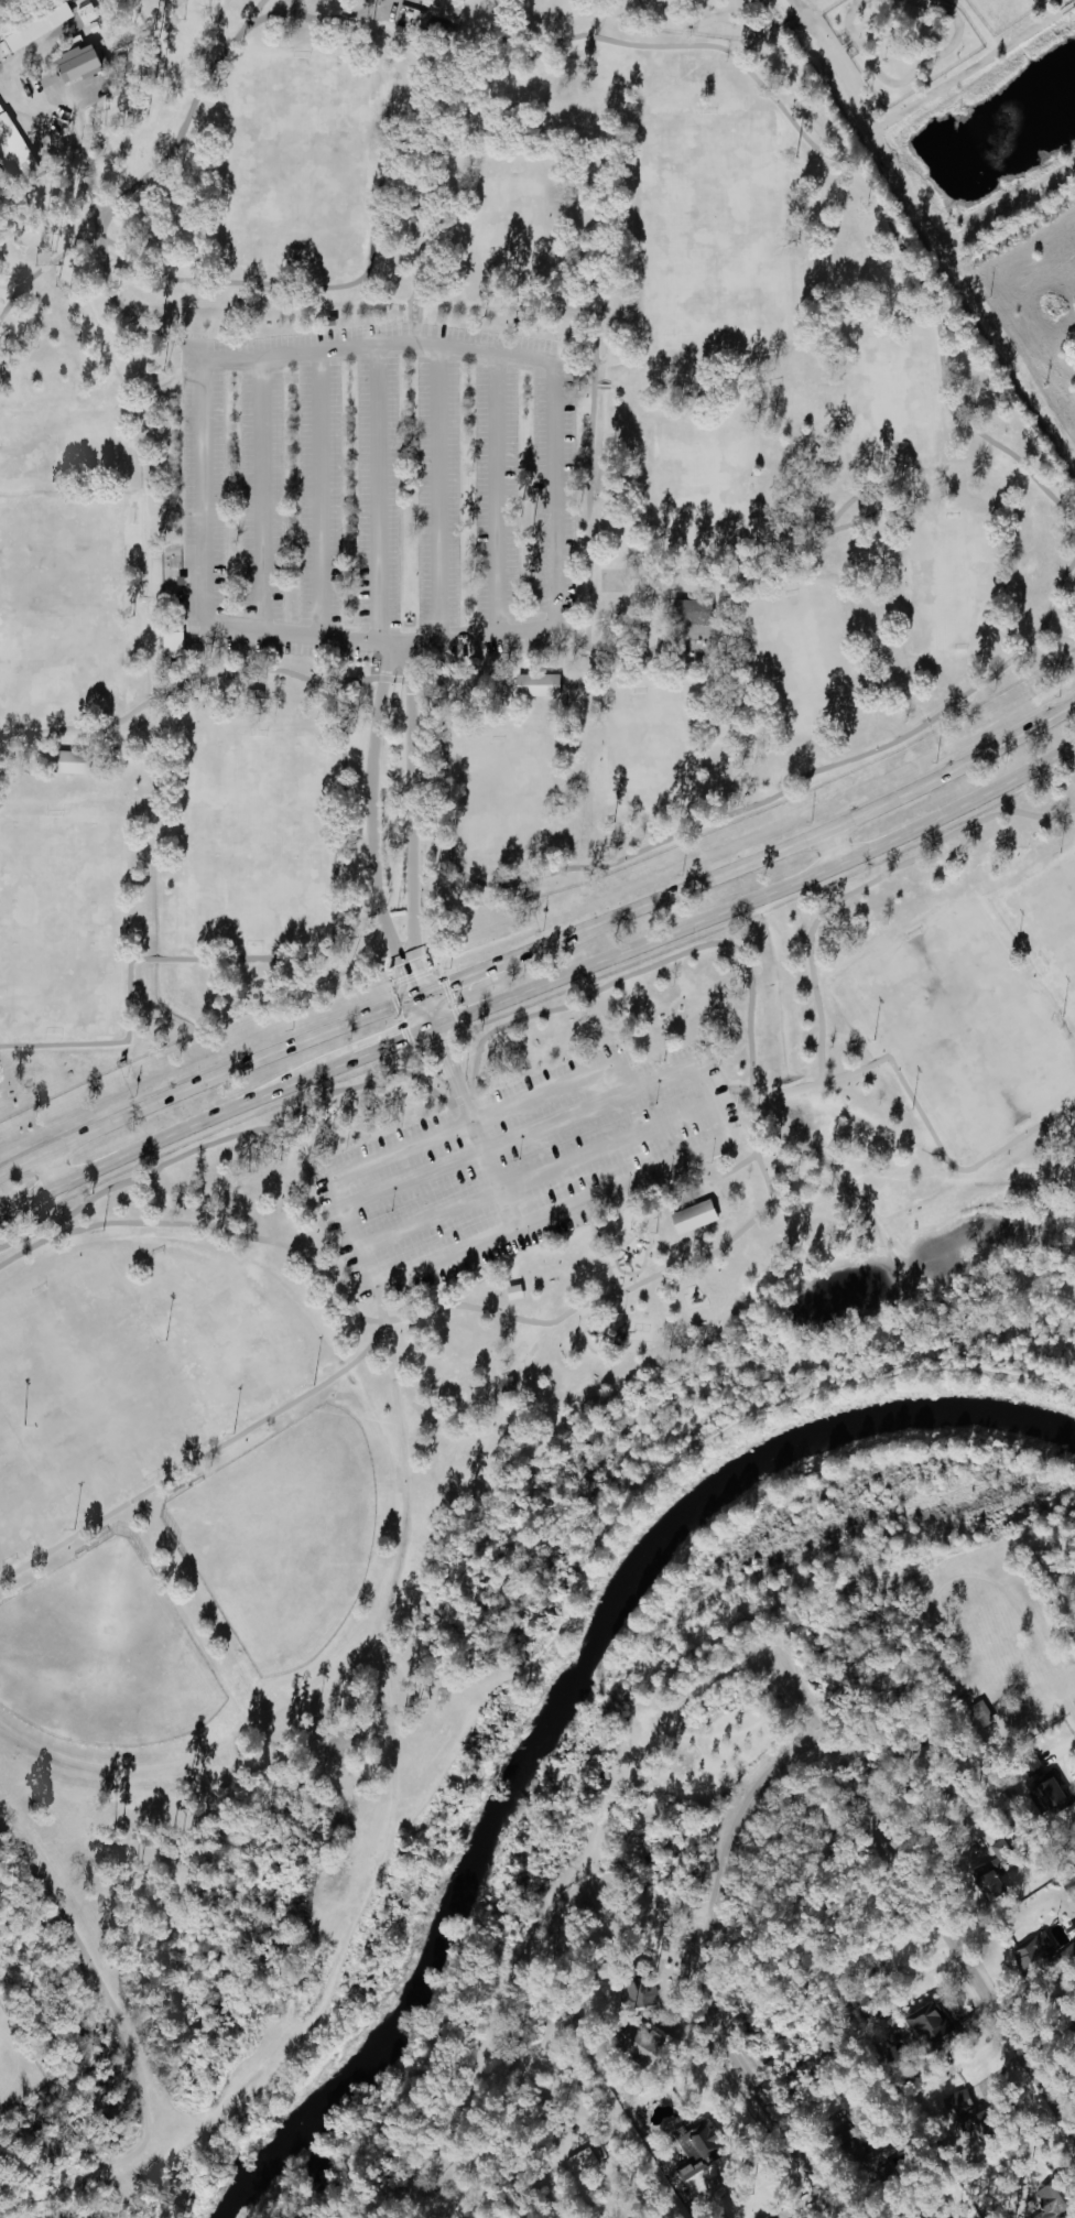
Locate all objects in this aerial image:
building: (445, 9)
road: (740, 10)
road: (254, 12)
park: (547, 13)
road: (314, 19)
road: (705, 24)
building: (35, 29)
road: (752, 30)
building: (76, 62)
road: (913, 76)
road: (883, 123)
road: (50, 125)
road: (182, 128)
road: (799, 134)
building: (13, 143)
road: (486, 153)
park: (293, 161)
park: (510, 214)
road: (80, 225)
park: (712, 230)
road: (954, 234)
road: (413, 258)
road: (104, 273)
road: (413, 296)
road: (273, 354)
park: (888, 398)
park: (63, 437)
park: (702, 482)
parking lot: (378, 491)
road: (318, 493)
road: (377, 493)
road: (437, 493)
road: (495, 493)
road: (260, 494)
road: (777, 564)
park: (947, 581)
park: (59, 607)
building: (691, 612)
road: (479, 635)
road: (683, 638)
building: (172, 643)
park: (803, 650)
road: (586, 674)
building: (536, 684)
park: (647, 745)
building: (69, 761)
park: (503, 792)
road: (410, 810)
road: (371, 812)
park: (253, 840)
road: (791, 846)
road: (832, 850)
road: (866, 884)
road: (501, 888)
park: (478, 896)
road: (758, 897)
park: (1052, 917)
park: (59, 921)
road: (265, 959)
road: (435, 964)
road: (460, 983)
road: (417, 987)
traffic signals: (422, 999)
traffic signals: (433, 1027)
park: (968, 1029)
road: (393, 1041)
road: (446, 1060)
road: (749, 1070)
road: (206, 1078)
road: (621, 1078)
road: (763, 1099)
road: (708, 1103)
road: (473, 1122)
road: (174, 1133)
road: (515, 1138)
road: (934, 1144)
parking lot: (520, 1162)
road: (50, 1171)
road: (533, 1177)
road: (714, 1178)
road: (666, 1189)
road: (549, 1211)
building: (693, 1221)
road: (597, 1246)
building: (513, 1291)
road: (875, 1333)
park: (224, 1343)
building: (506, 1383)
park: (95, 1385)
road: (704, 1442)
road: (197, 1458)
road: (405, 1481)
park: (23, 1494)
park: (291, 1539)
park: (109, 1667)
river: (568, 1694)
building: (981, 1712)
building: (1050, 1795)
road: (389, 1828)
building: (998, 1846)
road: (931, 1905)
building: (1043, 1952)
road: (94, 1972)
road: (714, 1976)
building: (929, 2021)
road: (298, 2036)
building: (639, 2042)
wastewater plant: (15, 2066)
building: (958, 2102)
building: (697, 2150)
building: (582, 2161)
building: (1050, 2204)
road: (4, 2207)

